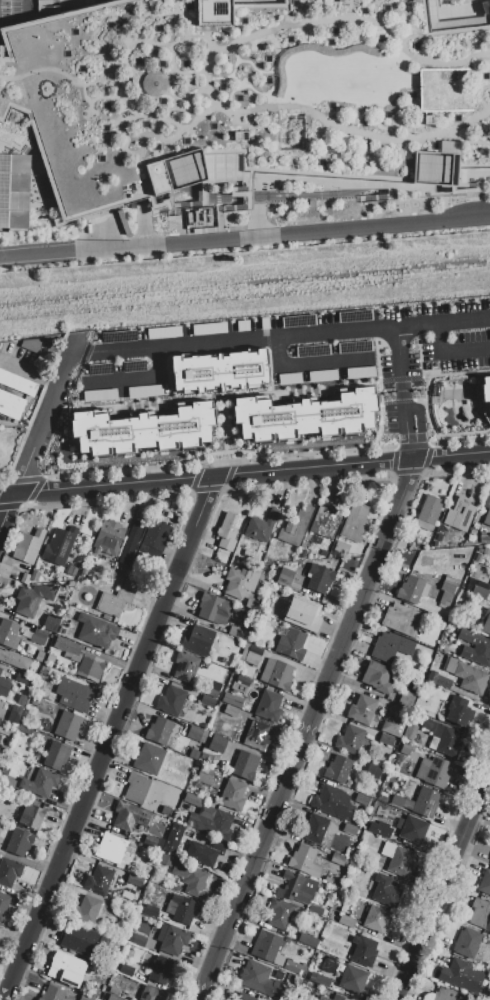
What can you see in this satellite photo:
road: (105, 0)
road: (489, 3)
road: (282, 4)
road: (71, 5)
road: (173, 6)
road: (343, 8)
road: (32, 9)
road: (370, 9)
road: (140, 10)
road: (62, 15)
road: (120, 18)
road: (282, 18)
road: (402, 20)
road: (240, 31)
road: (439, 32)
road: (129, 33)
road: (374, 33)
road: (192, 35)
road: (134, 44)
road: (464, 44)
road: (6, 50)
road: (488, 54)
road: (168, 56)
road: (42, 68)
road: (109, 68)
road: (294, 71)
road: (203, 74)
road: (160, 76)
road: (113, 82)
parking lot: (388, 88)
road: (330, 89)
road: (142, 90)
road: (177, 90)
road: (366, 90)
road: (404, 90)
road: (442, 90)
road: (478, 90)
road: (105, 91)
park: (244, 91)
road: (80, 92)
parking lot: (87, 92)
road: (476, 93)
road: (188, 94)
road: (71, 95)
road: (259, 95)
building: (255, 97)
road: (32, 100)
road: (124, 105)
parking lot: (218, 105)
road: (403, 105)
road: (219, 107)
road: (86, 109)
road: (184, 109)
park: (12, 116)
road: (161, 117)
road: (171, 123)
road: (112, 125)
road: (243, 126)
road: (198, 128)
road: (318, 132)
road: (164, 140)
road: (466, 141)
road: (13, 145)
road: (397, 148)
building: (19, 164)
road: (141, 172)
road: (312, 172)
road: (217, 174)
road: (218, 175)
road: (88, 181)
road: (427, 181)
road: (181, 183)
road: (355, 185)
road: (51, 190)
road: (302, 193)
road: (221, 197)
street lamp: (365, 210)
road: (218, 211)
road: (259, 213)
street lamp: (418, 233)
road: (245, 237)
street lamp: (365, 237)
street lamp: (320, 242)
street lamp: (13, 243)
street lamp: (285, 244)
street lamp: (243, 248)
street lamp: (201, 252)
street lamp: (171, 254)
street lamp: (130, 257)
street lamp: (85, 261)
street lamp: (51, 265)
railway: (245, 284)
railway: (245, 295)
road: (443, 319)
road: (303, 332)
parking lot: (455, 334)
building: (29, 344)
road: (450, 350)
parking lot: (274, 355)
parking lot: (22, 362)
building: (220, 365)
road: (460, 372)
road: (426, 385)
building: (13, 393)
road: (229, 394)
road: (379, 395)
building: (485, 399)
road: (33, 410)
road: (46, 414)
building: (304, 416)
parking lot: (54, 417)
building: (145, 431)
road: (459, 441)
road: (223, 452)
road: (451, 456)
road: (219, 462)
road: (412, 465)
road: (313, 466)
road: (423, 471)
road: (38, 483)
road: (313, 483)
road: (106, 485)
road: (404, 486)
road: (205, 489)
road: (204, 500)
road: (5, 507)
building: (486, 509)
building: (428, 512)
building: (459, 512)
building: (324, 522)
building: (354, 522)
building: (262, 526)
building: (294, 527)
building: (228, 531)
building: (108, 536)
building: (155, 538)
building: (130, 542)
building: (58, 545)
building: (27, 546)
building: (341, 547)
building: (319, 577)
building: (24, 578)
building: (288, 579)
building: (240, 581)
building: (410, 589)
building: (447, 590)
building: (488, 590)
building: (479, 592)
building: (32, 598)
building: (115, 600)
building: (252, 604)
building: (214, 609)
building: (302, 614)
building: (400, 619)
building: (485, 621)
building: (50, 623)
road: (138, 631)
building: (236, 631)
building: (97, 632)
building: (8, 634)
building: (197, 641)
building: (291, 644)
building: (66, 646)
building: (390, 646)
building: (475, 648)
building: (251, 657)
building: (14, 659)
building: (185, 666)
building: (90, 668)
building: (0, 670)
building: (276, 673)
building: (466, 675)
building: (377, 677)
building: (23, 679)
building: (438, 680)
building: (240, 684)
building: (4, 686)
building: (213, 686)
building: (415, 686)
building: (73, 694)
building: (21, 699)
building: (406, 699)
building: (171, 701)
building: (206, 701)
road: (326, 704)
building: (268, 706)
building: (362, 709)
building: (230, 710)
building: (399, 710)
building: (459, 711)
building: (15, 714)
building: (67, 725)
building: (392, 727)
building: (159, 730)
building: (409, 732)
building: (196, 734)
building: (256, 736)
building: (445, 738)
building: (349, 739)
building: (386, 739)
building: (217, 742)
building: (405, 749)
road: (300, 751)
building: (56, 755)
building: (148, 759)
road: (102, 763)
building: (244, 766)
building: (337, 769)
building: (372, 771)
building: (433, 771)
building: (204, 775)
building: (7, 782)
building: (39, 782)
building: (135, 789)
building: (232, 795)
building: (385, 798)
building: (361, 799)
building: (194, 800)
building: (332, 802)
building: (423, 802)
building: (165, 810)
building: (31, 816)
building: (130, 816)
building: (211, 822)
building: (313, 828)
building: (379, 829)
building: (412, 830)
building: (352, 834)
building: (171, 841)
building: (18, 842)
building: (110, 848)
building: (204, 849)
building: (165, 859)
building: (397, 859)
building: (489, 859)
building: (337, 860)
building: (149, 861)
building: (304, 861)
road: (434, 862)
building: (9, 871)
building: (121, 873)
building: (190, 877)
building: (98, 879)
building: (484, 882)
road: (443, 886)
building: (298, 887)
building: (385, 891)
road: (449, 898)
building: (4, 904)
building: (86, 909)
building: (148, 909)
building: (184, 909)
building: (314, 910)
building: (279, 913)
building: (480, 914)
building: (376, 919)
building: (347, 923)
building: (173, 939)
building: (78, 940)
building: (137, 940)
building: (307, 940)
building: (466, 942)
building: (266, 947)
building: (363, 950)
building: (294, 966)
building: (66, 968)
building: (125, 970)
building: (160, 970)
building: (461, 975)
building: (353, 979)
building: (258, 980)
building: (319, 980)
building: (52, 994)
building: (151, 994)
building: (447, 995)
building: (114, 997)
building: (243, 997)
building: (339, 997)
building: (323, 998)
building: (288, 999)

